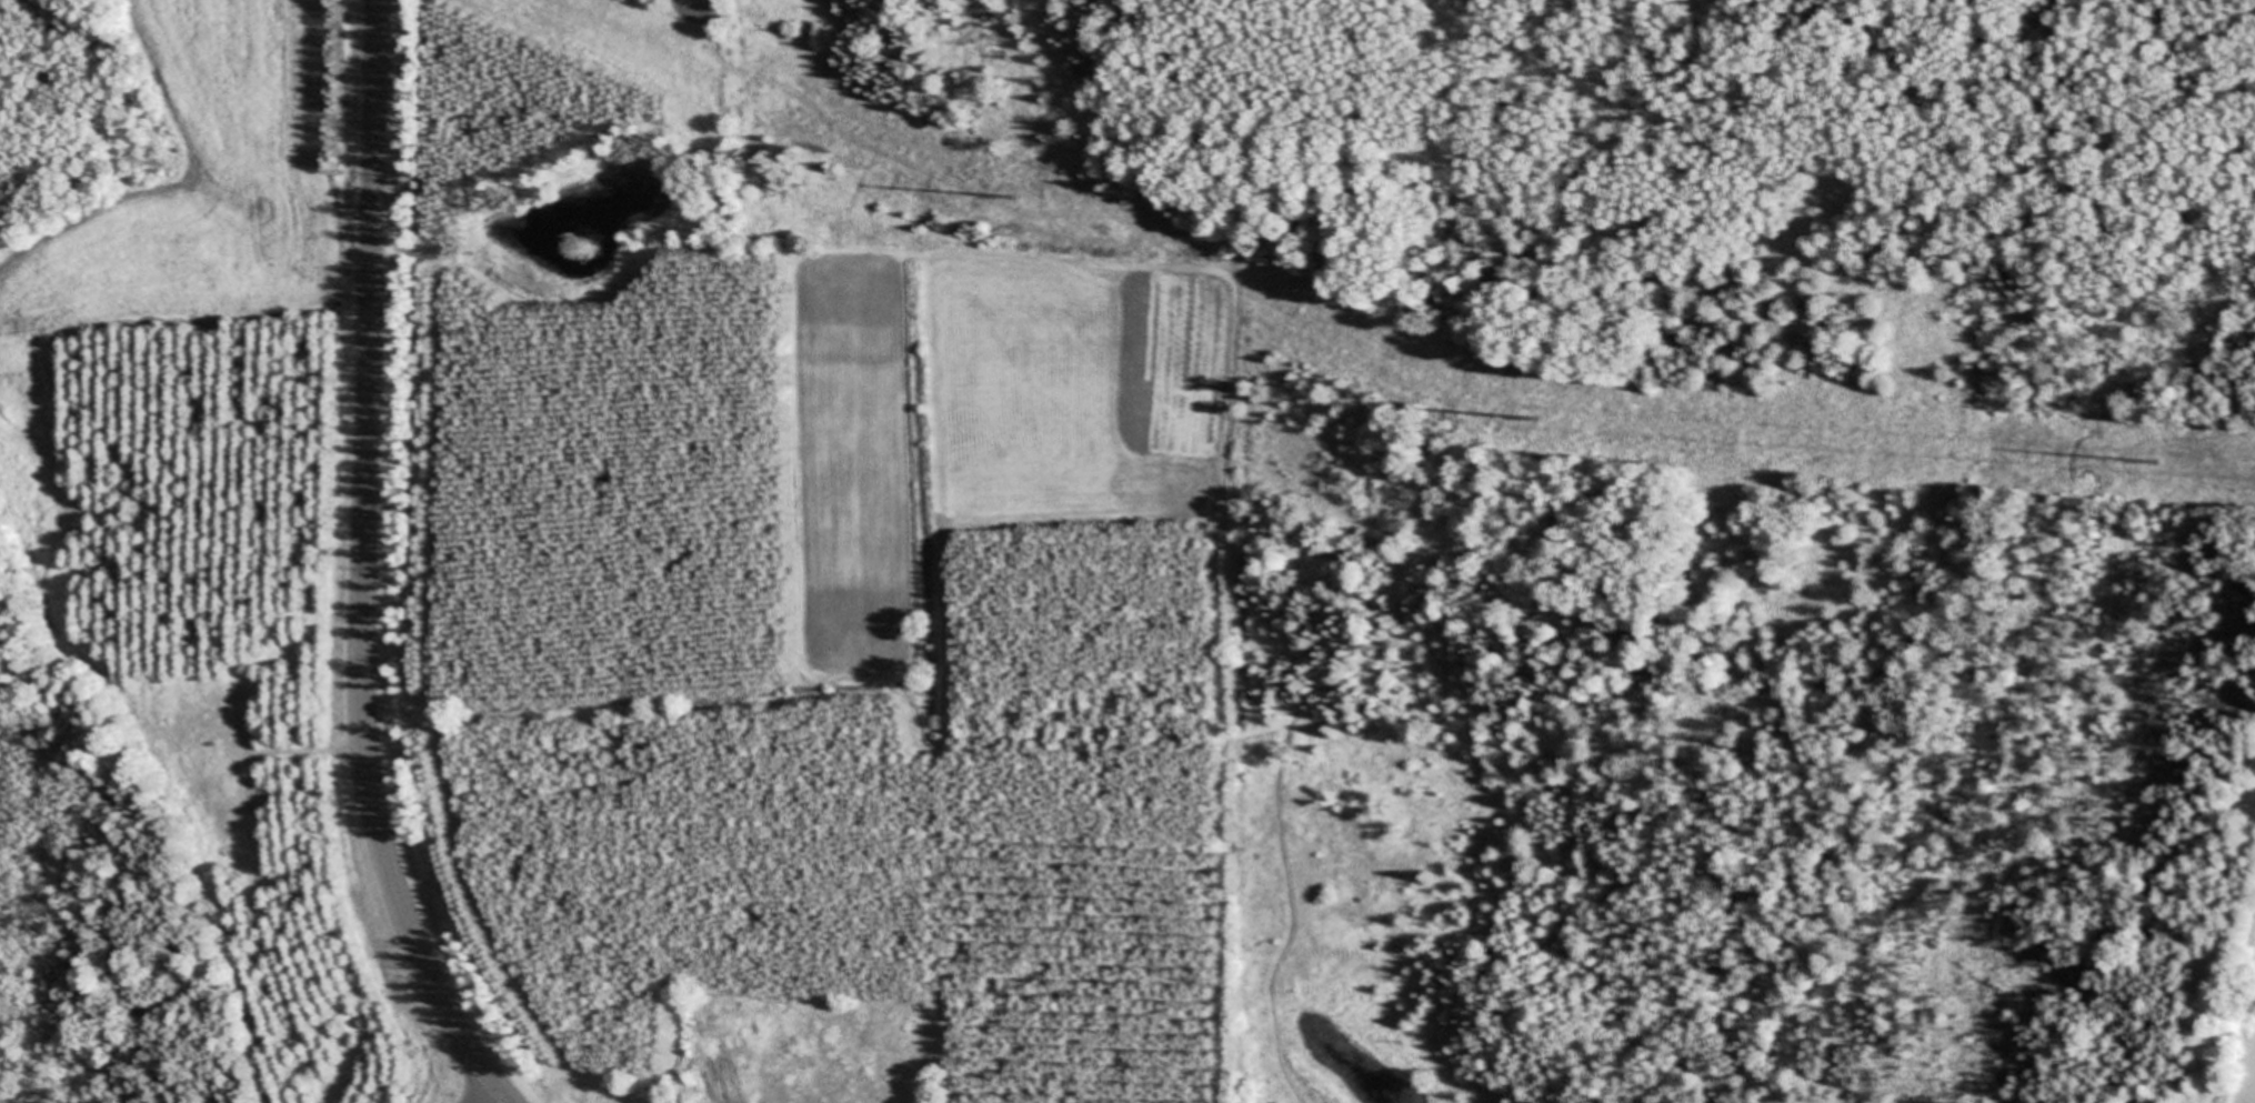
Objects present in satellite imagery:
power tower: (1010, 194)
power tower: (1536, 418)
power tower: (2154, 460)
road: (363, 559)
building: (2239, 1093)
road: (484, 1097)
road: (497, 1097)

